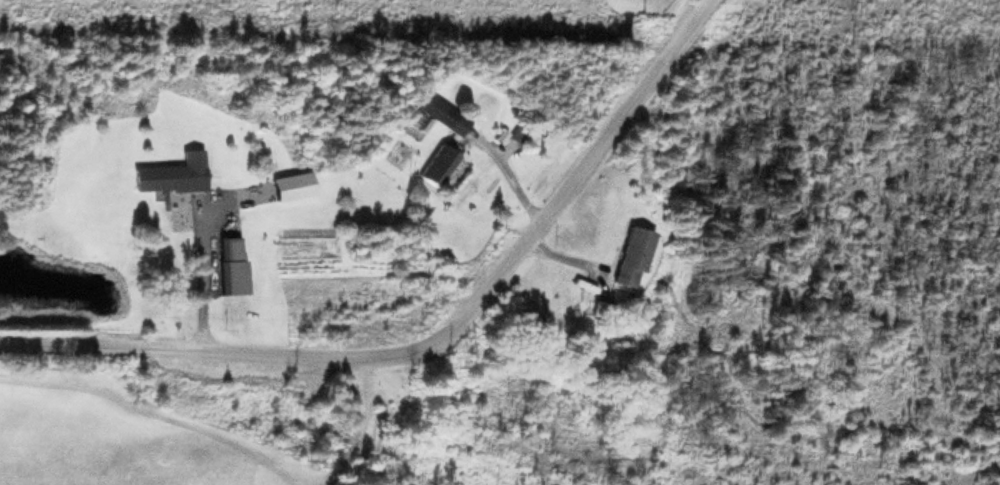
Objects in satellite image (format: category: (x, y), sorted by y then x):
building: (441, 113)
building: (434, 163)
building: (171, 172)
building: (290, 184)
road: (199, 239)
building: (629, 254)
building: (231, 263)
building: (598, 308)
road: (430, 336)

